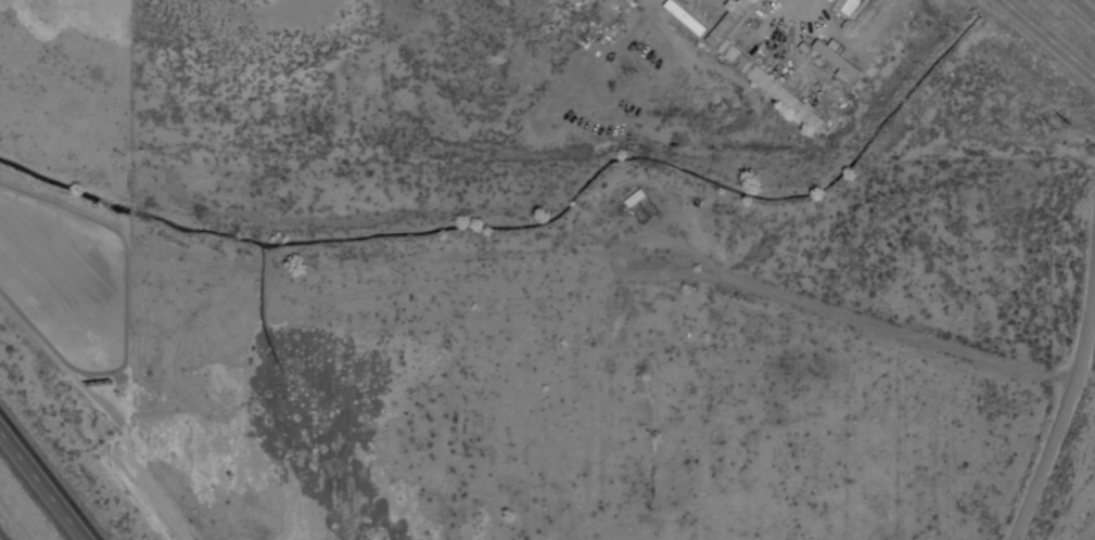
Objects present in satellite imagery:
road: (1081, 11)
road: (1047, 39)
building: (830, 57)
building: (762, 82)
building: (633, 198)
road: (1059, 420)
road: (42, 485)

